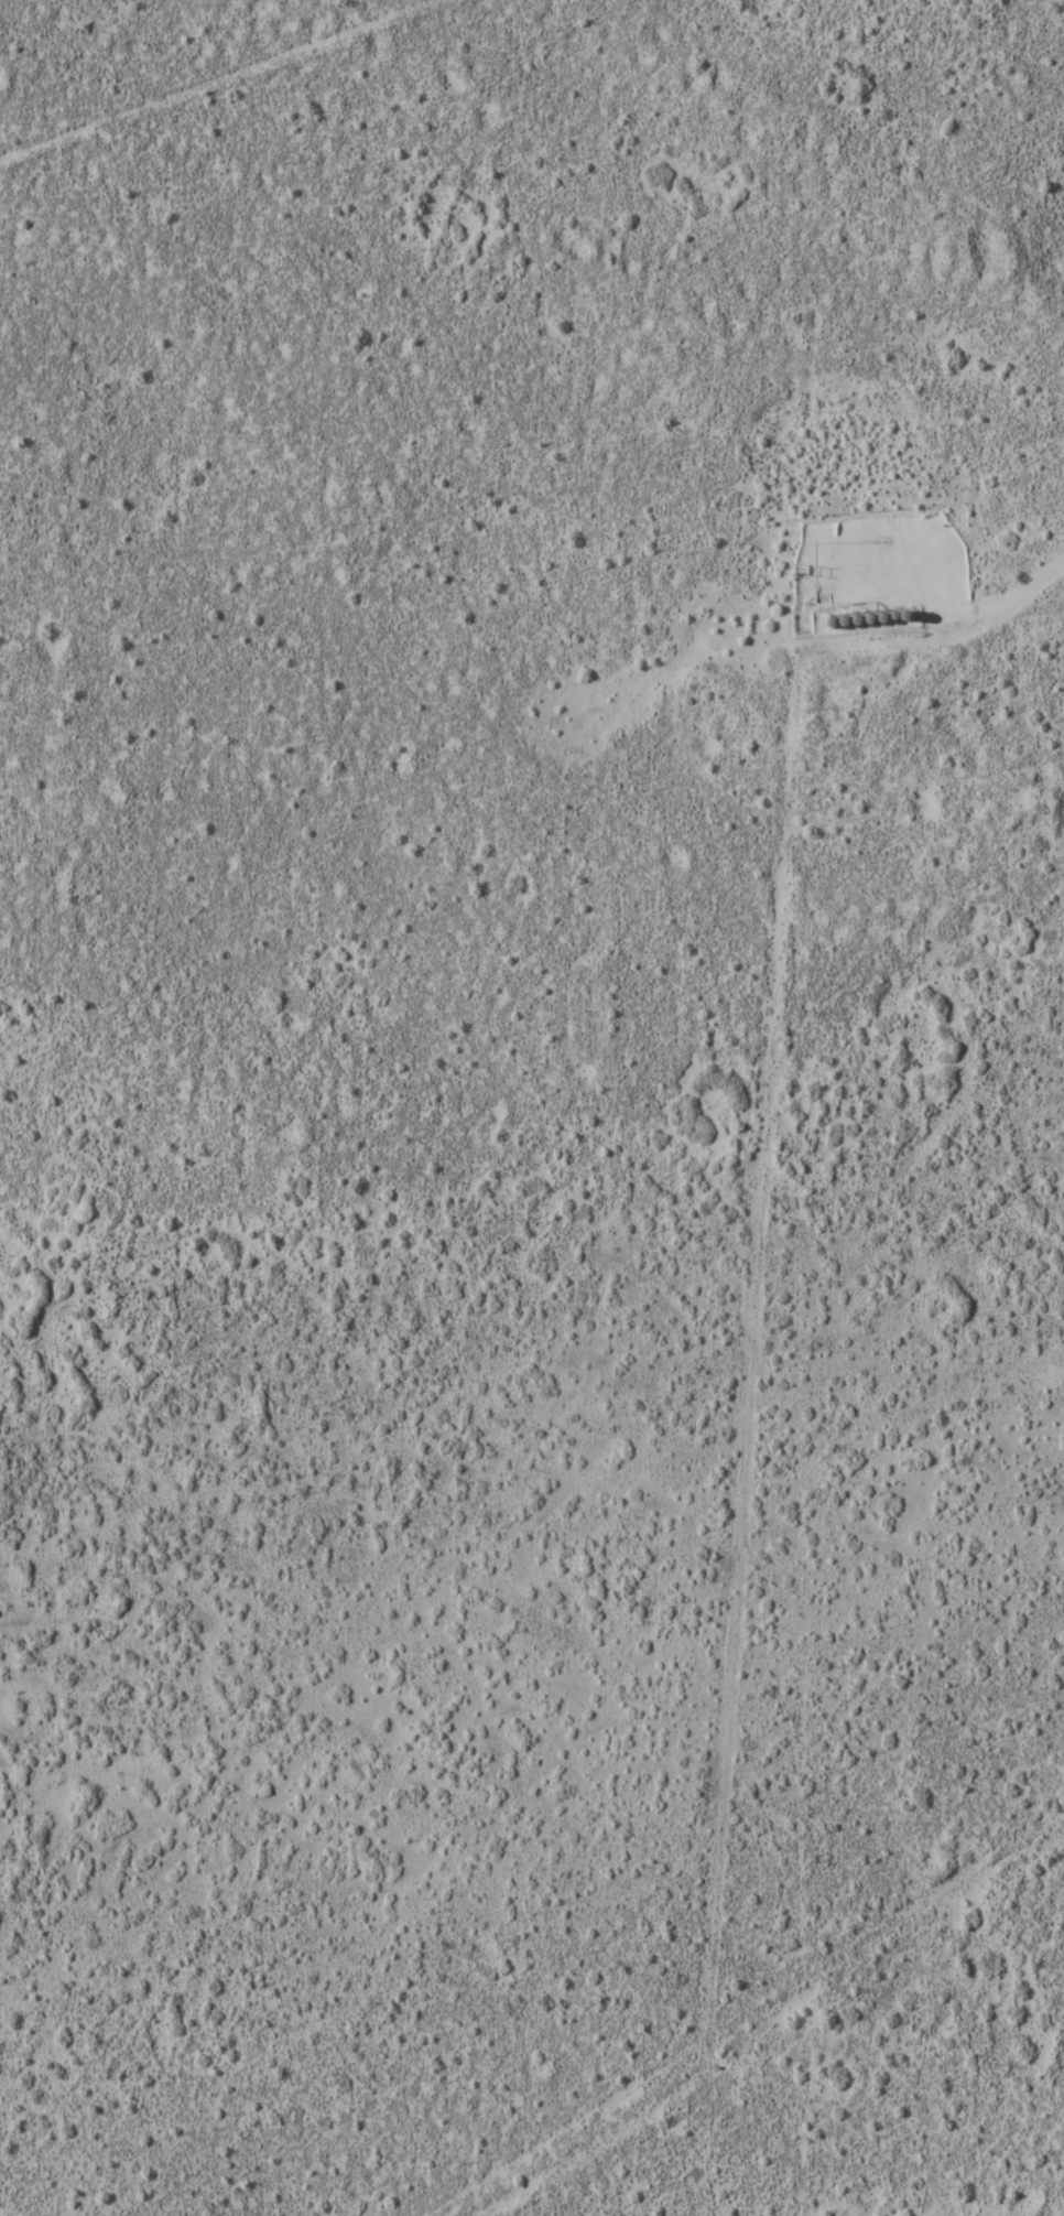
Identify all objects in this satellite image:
petroleum well: (883, 540)
road: (940, 606)

